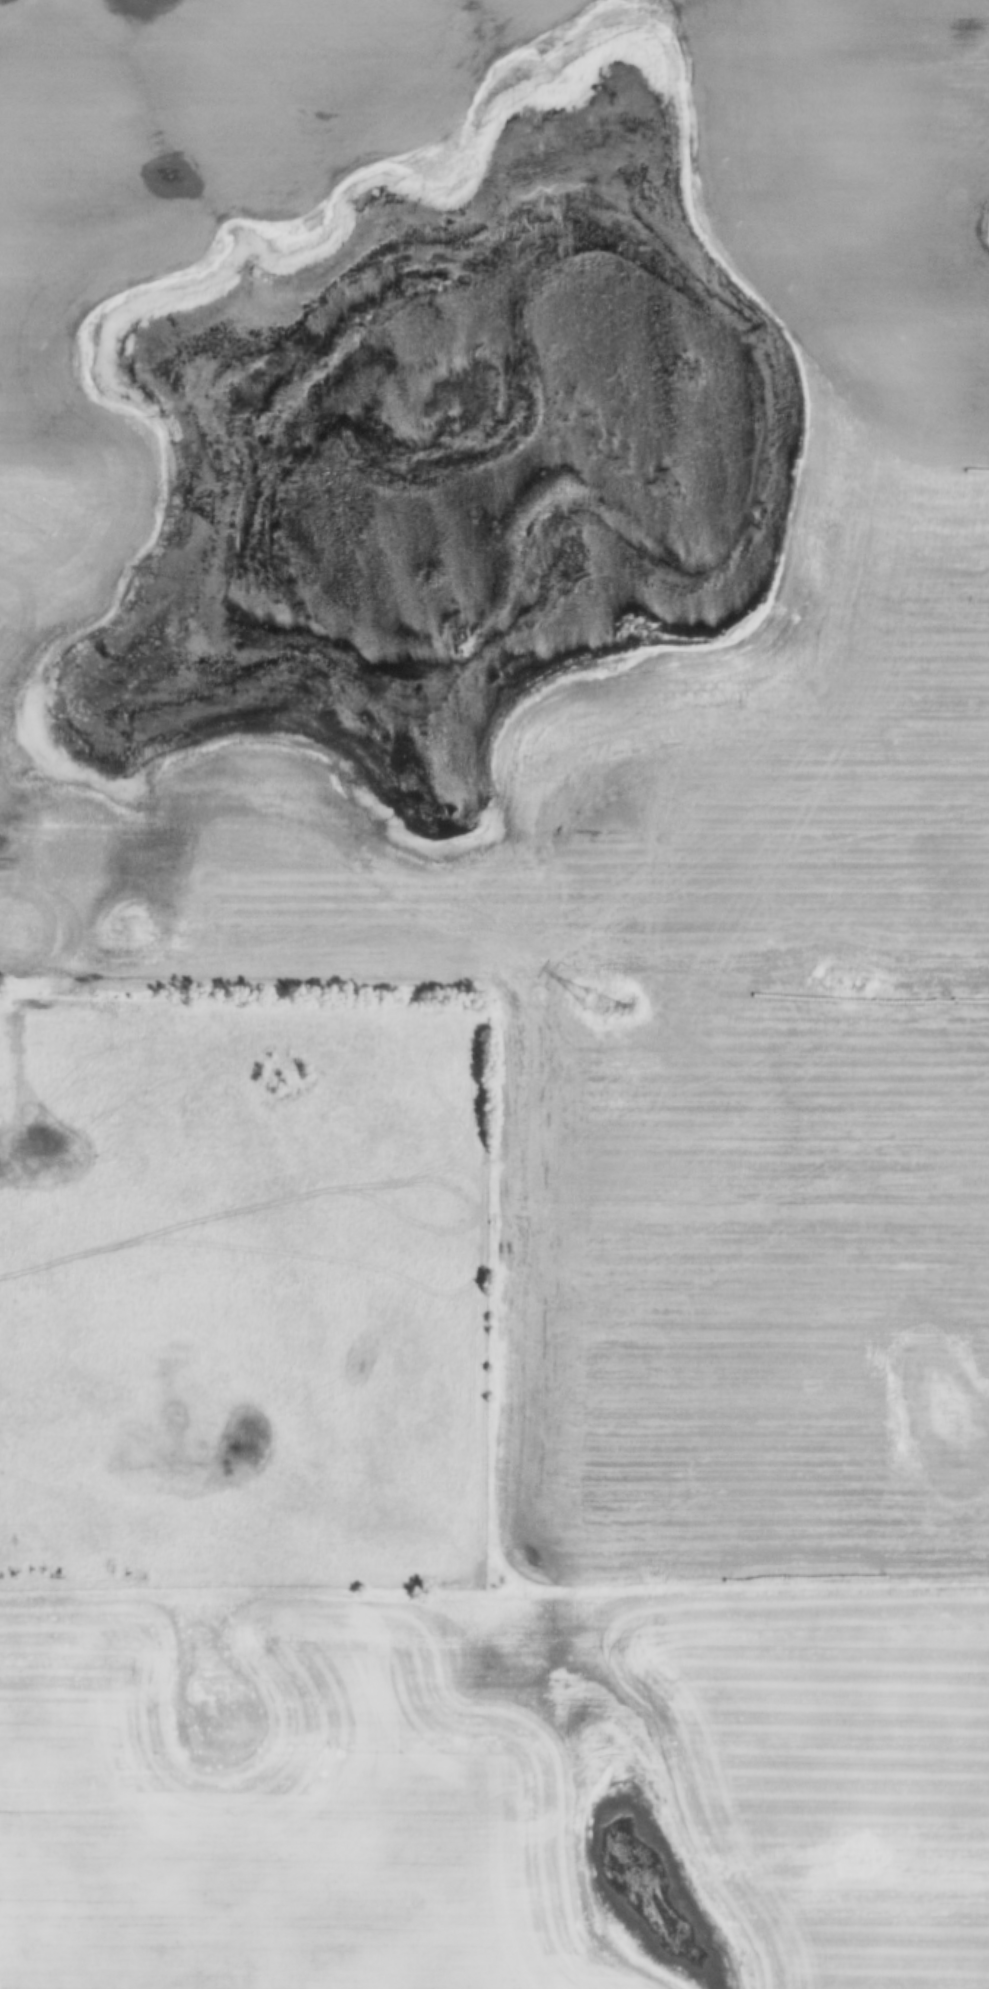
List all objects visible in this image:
power tower: (595, 1012)

